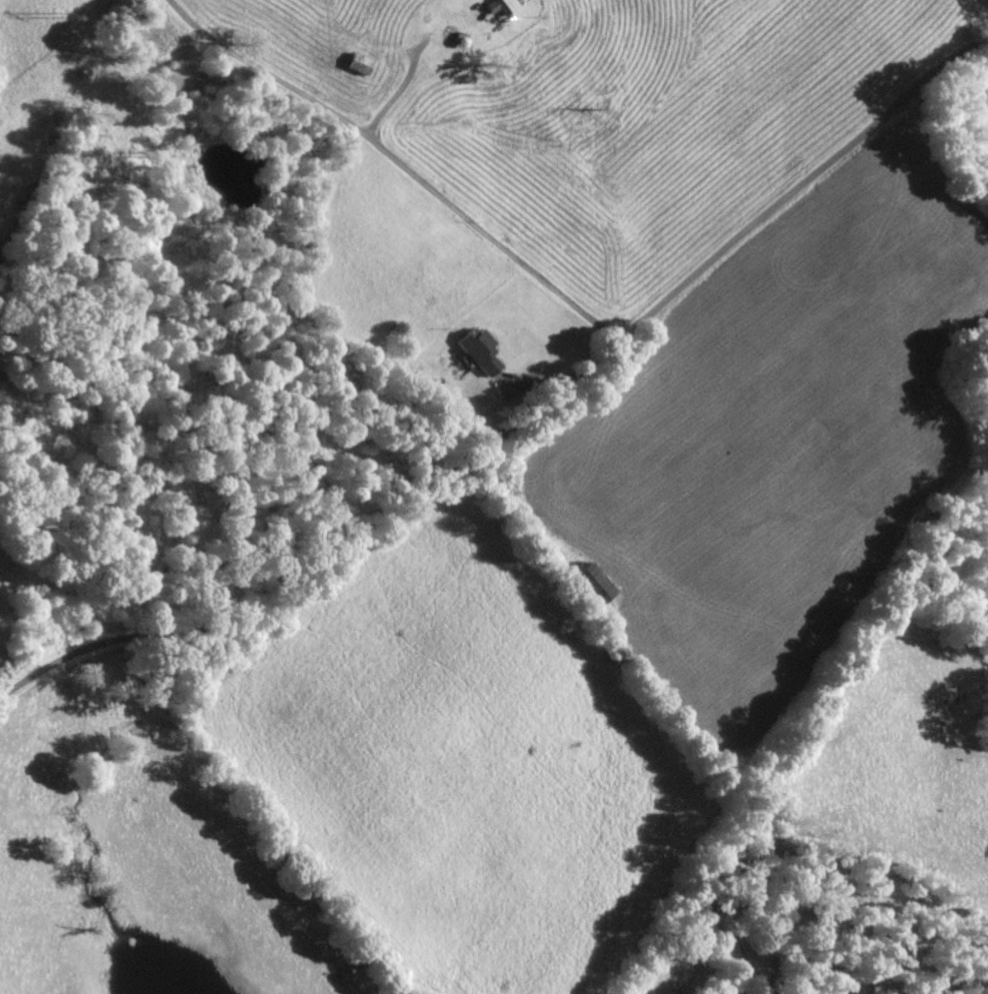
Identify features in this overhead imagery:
building: (505, 5)
power tower: (60, 16)
building: (365, 63)
road: (419, 180)
building: (485, 350)
road: (520, 423)

